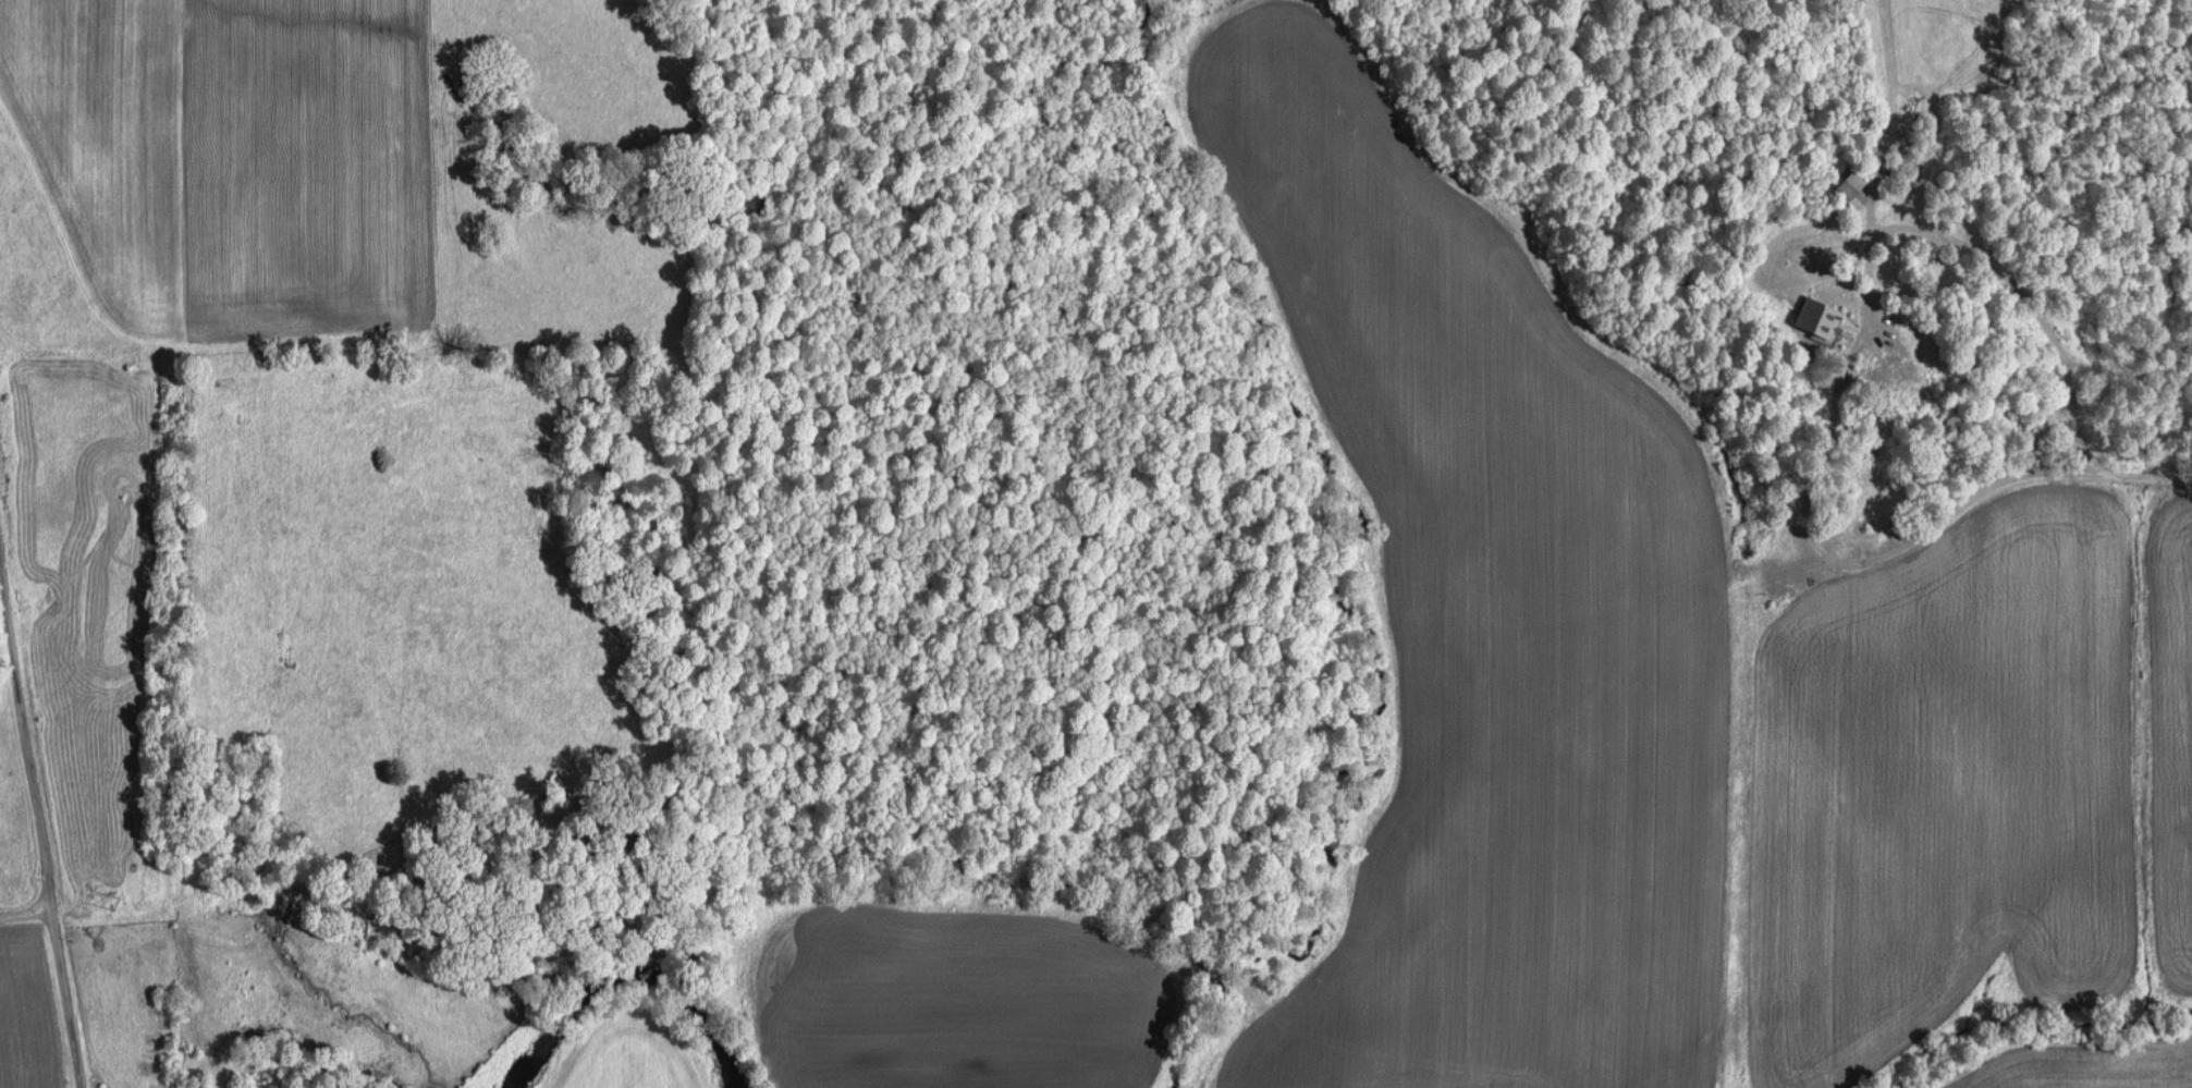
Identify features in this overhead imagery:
building: (1851, 183)
building: (1823, 316)
road: (1827, 363)
road: (2135, 475)
road: (45, 861)
power tower: (115, 904)
road: (25, 913)

